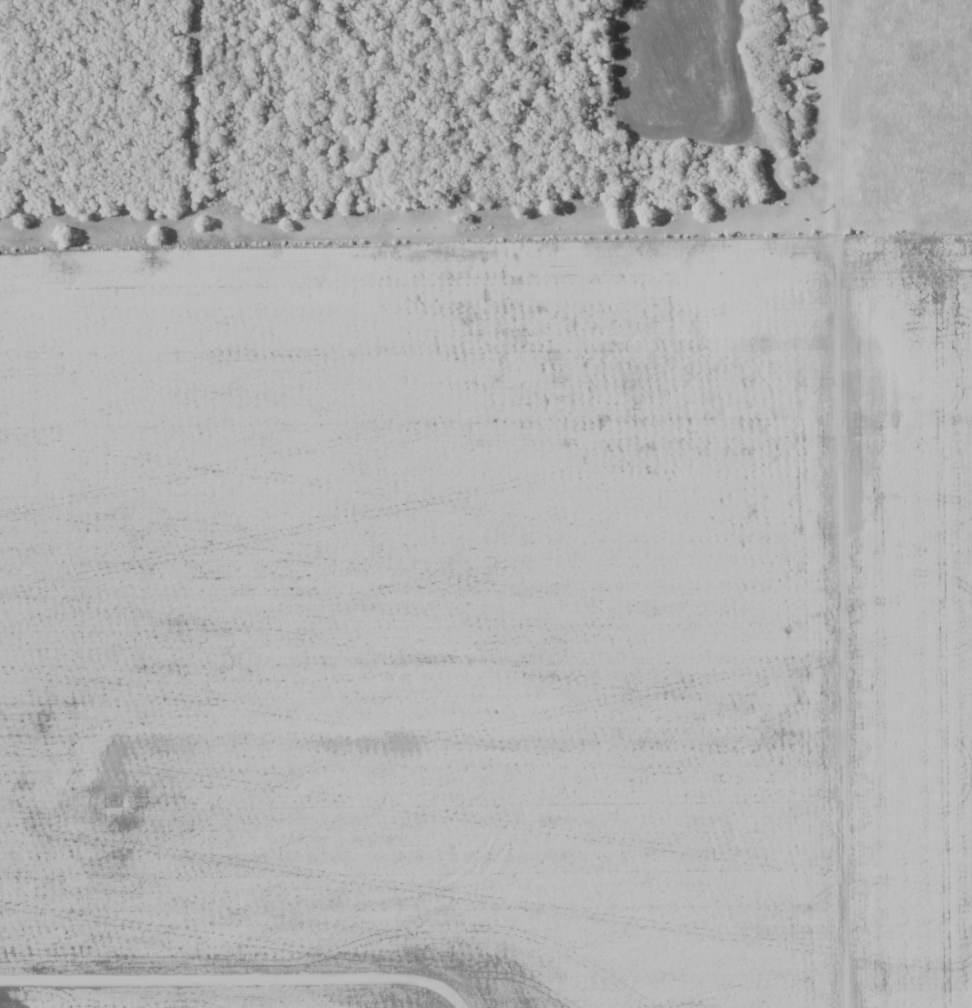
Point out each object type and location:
road: (423, 259)
road: (850, 503)
road: (481, 747)

